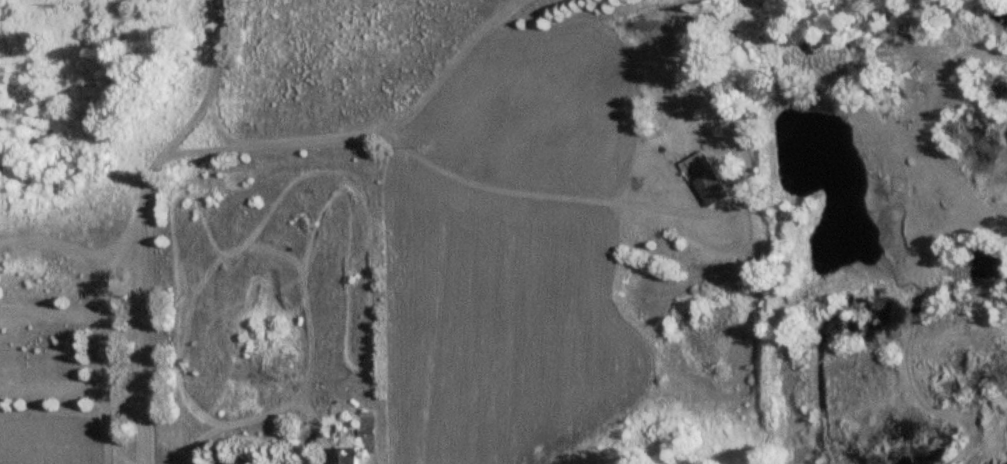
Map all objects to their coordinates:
road: (468, 70)
crop: (454, 82)
building: (702, 177)
road: (518, 188)
road: (158, 220)
crop: (504, 322)
road: (100, 389)
crop: (56, 445)
building: (343, 456)

